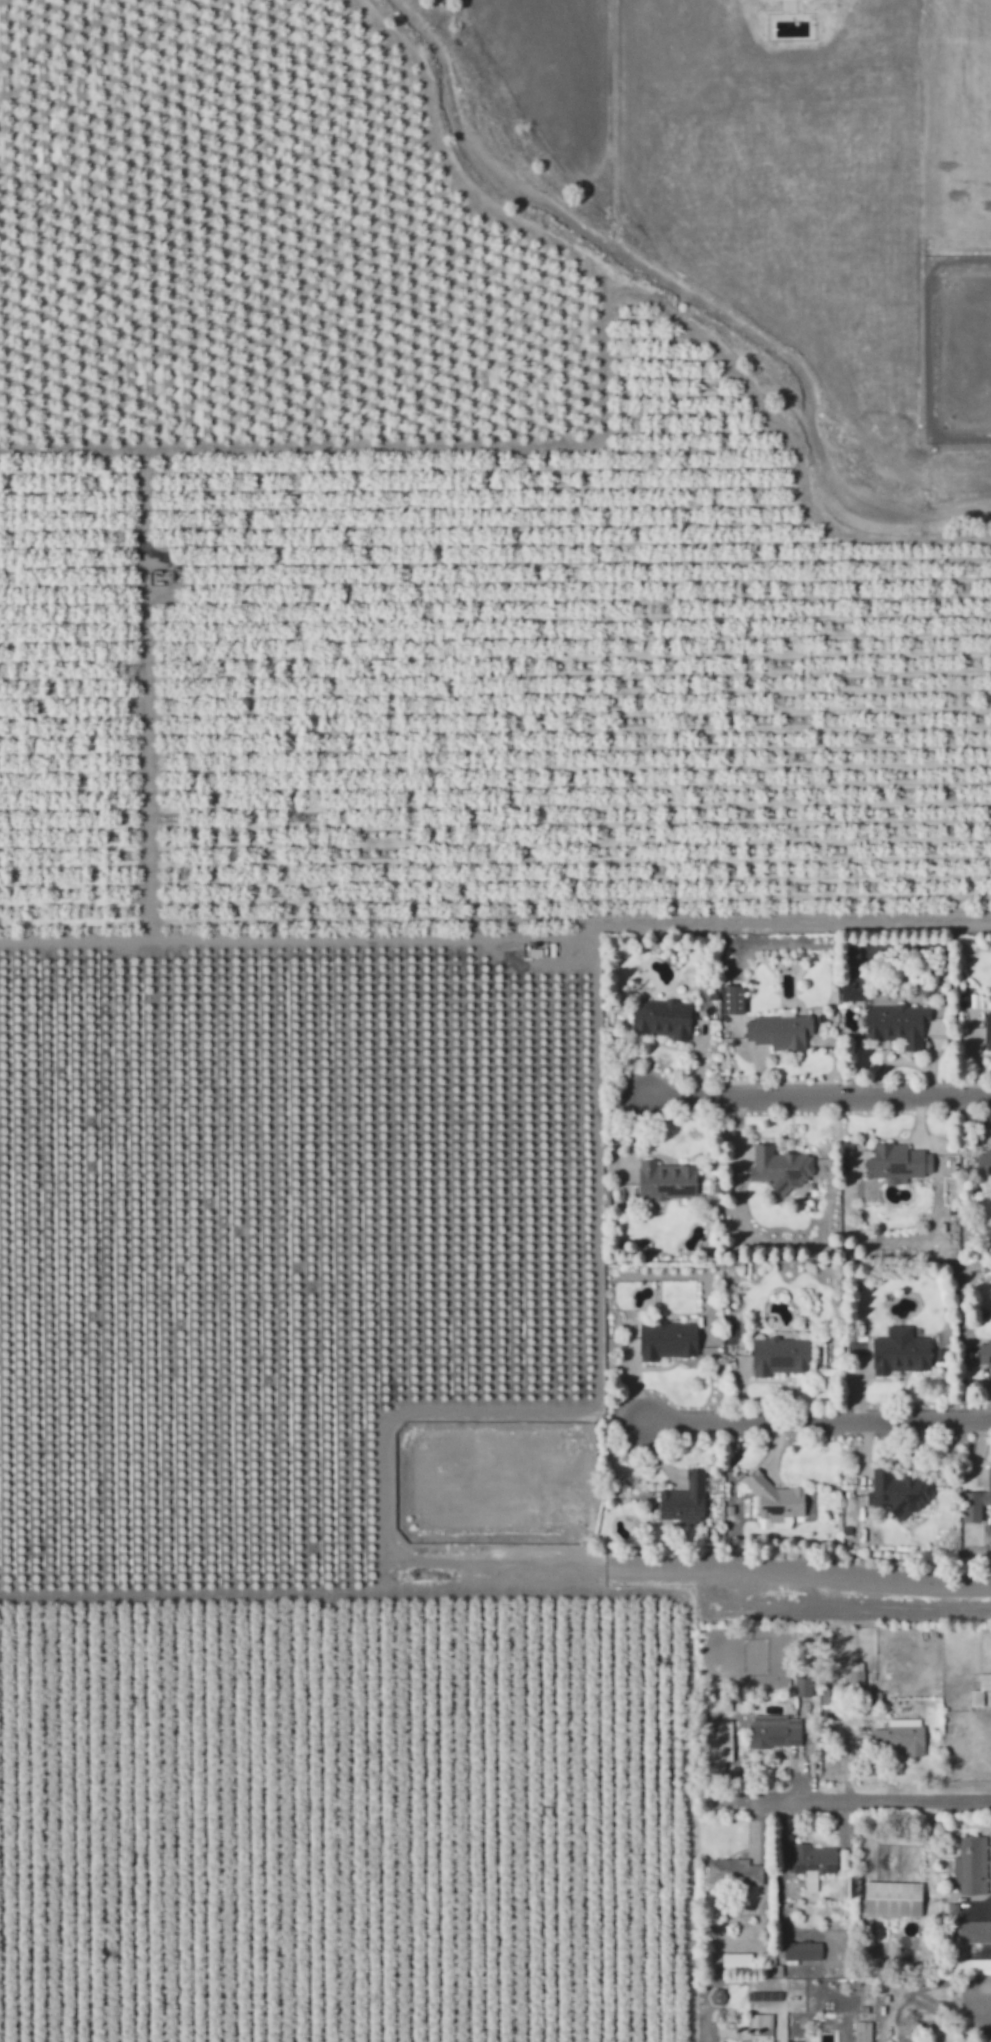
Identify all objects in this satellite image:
building: (733, 1000)
building: (663, 1019)
building: (896, 1026)
building: (781, 1031)
building: (988, 1031)
road: (812, 1092)
building: (898, 1162)
building: (983, 1162)
building: (780, 1169)
building: (666, 1181)
building: (668, 1341)
building: (901, 1352)
building: (986, 1353)
building: (781, 1356)
road: (815, 1417)
building: (899, 1493)
building: (685, 1501)
building: (777, 1504)
building: (975, 1504)
road: (797, 1567)
building: (803, 1644)
building: (853, 1661)
building: (983, 1676)
building: (853, 1677)
building: (799, 1682)
building: (974, 1693)
building: (822, 1696)
building: (715, 1697)
building: (799, 1698)
building: (770, 1726)
building: (896, 1730)
building: (714, 1738)
road: (891, 1796)
building: (809, 1854)
building: (968, 1860)
building: (731, 1868)
building: (807, 1877)
building: (889, 1894)
building: (972, 1926)
building: (777, 1946)
building: (799, 1946)
building: (765, 1956)
building: (787, 1957)
building: (733, 1958)
building: (769, 1960)
building: (970, 1961)
building: (717, 1997)
building: (762, 2022)

